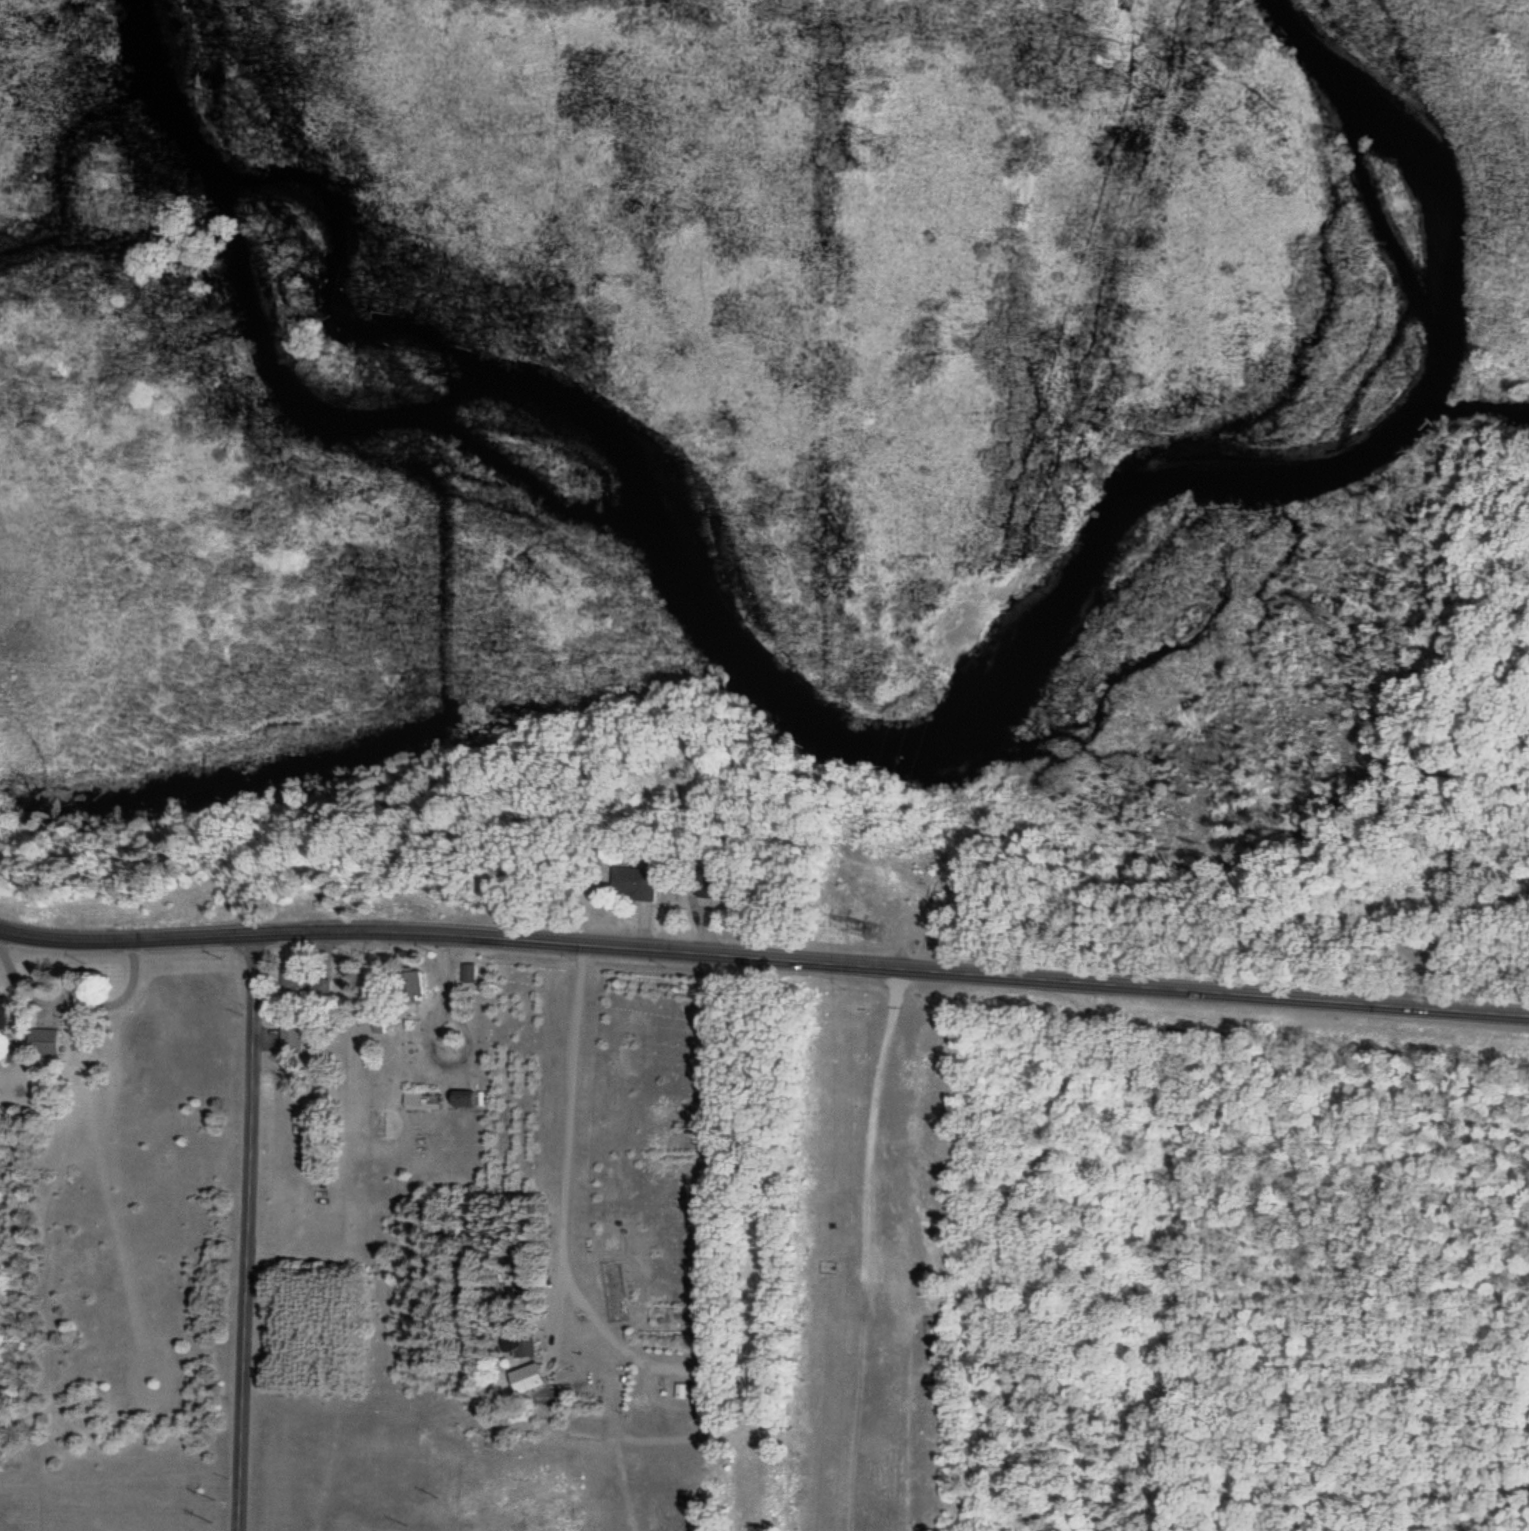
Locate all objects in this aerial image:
power tower: (1113, 51)
river: (861, 739)
building: (707, 884)
building: (631, 885)
road: (1447, 931)
power tower: (875, 933)
road: (1415, 947)
road: (764, 957)
building: (468, 973)
building: (305, 988)
building: (409, 988)
building: (4, 1010)
building: (377, 1026)
building: (45, 1042)
building: (462, 1100)
building: (420, 1101)
road: (1303, 1217)
road: (246, 1232)
building: (520, 1346)
building: (681, 1392)

